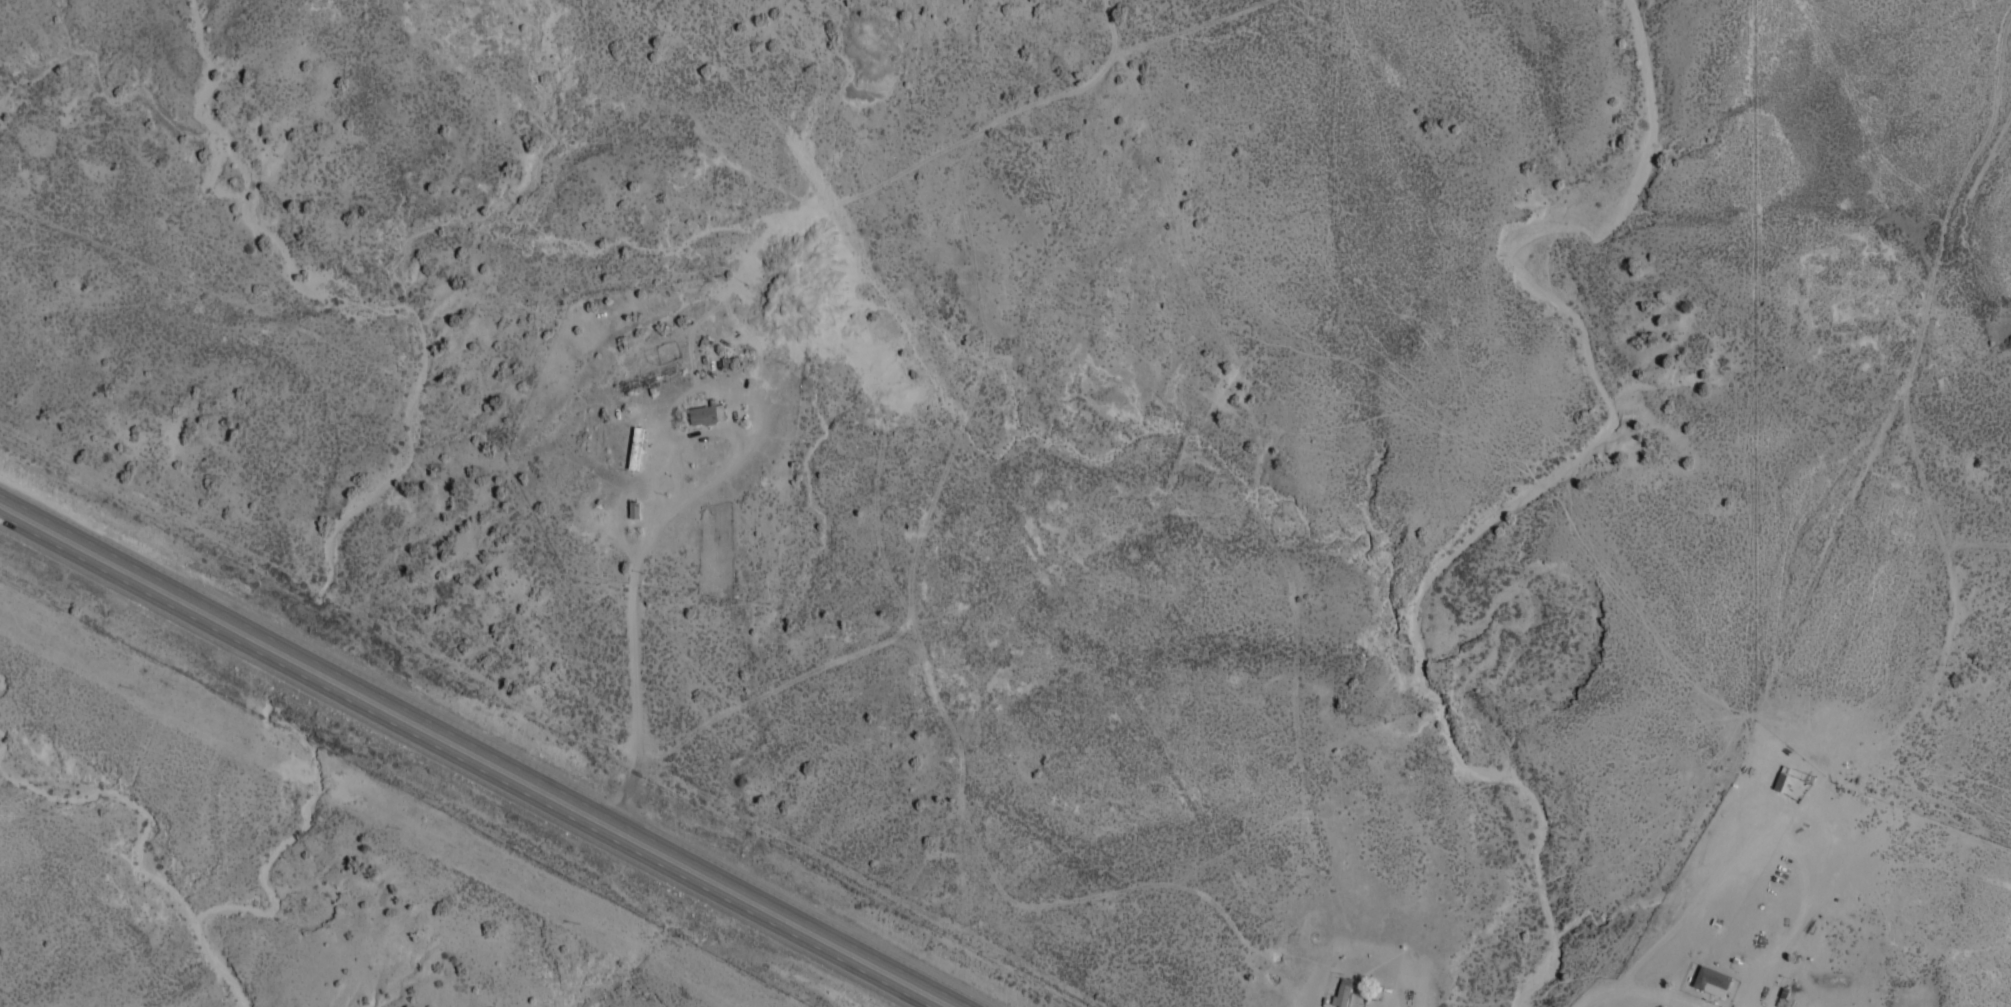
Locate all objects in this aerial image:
road: (34, 32)
building: (707, 417)
building: (634, 452)
road: (635, 597)
road: (1836, 631)
road: (488, 748)
road: (466, 760)
building: (1781, 781)
road: (1855, 801)
road: (1767, 967)
building: (1712, 983)
road: (1600, 990)
road: (1662, 999)

